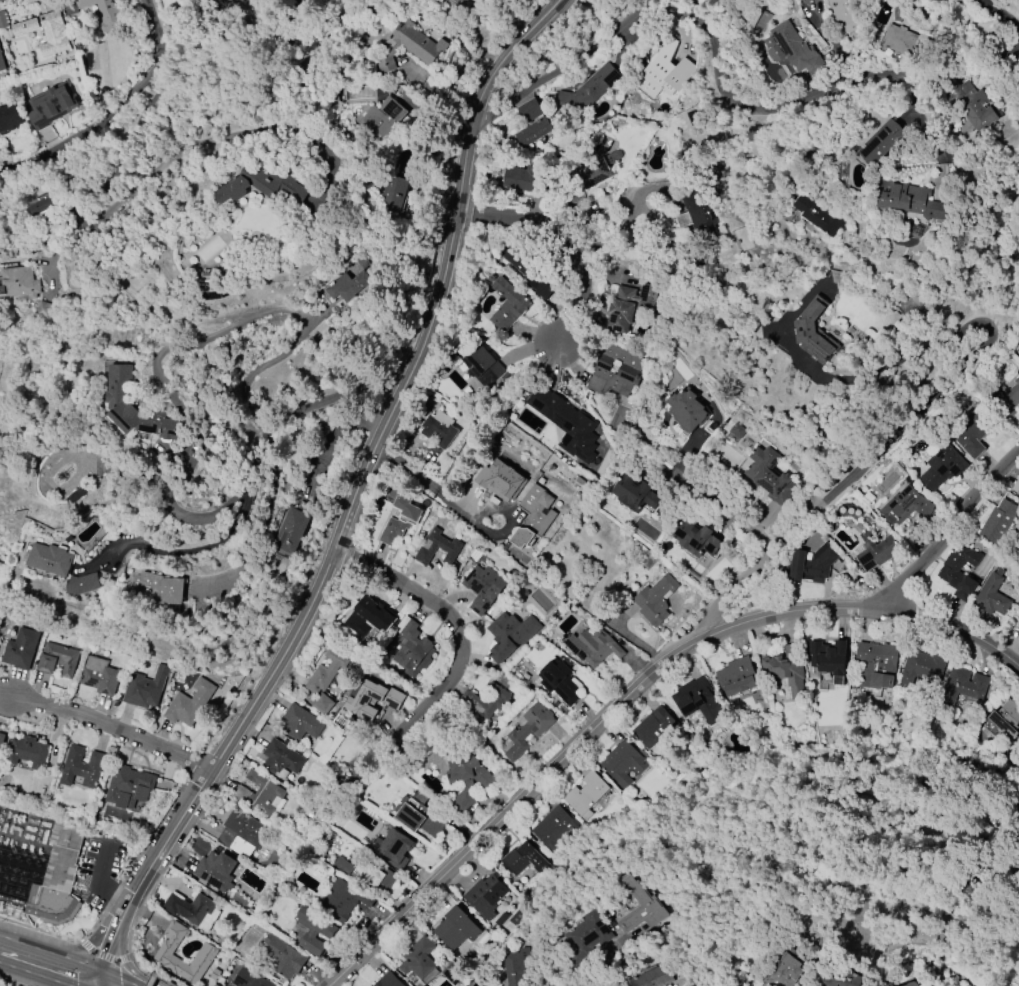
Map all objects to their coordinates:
building: (930, 0)
road: (3, 1)
building: (935, 1)
building: (104, 11)
road: (1004, 13)
building: (843, 15)
building: (45, 31)
building: (899, 42)
building: (414, 46)
building: (793, 48)
building: (117, 62)
building: (1, 64)
building: (685, 68)
road: (559, 69)
road: (968, 76)
building: (586, 89)
building: (50, 106)
building: (973, 106)
road: (744, 107)
building: (529, 110)
road: (114, 113)
building: (10, 116)
building: (386, 117)
building: (532, 132)
building: (882, 143)
building: (599, 170)
building: (518, 176)
road: (142, 182)
building: (269, 186)
building: (394, 193)
building: (913, 200)
building: (42, 206)
building: (697, 215)
building: (817, 215)
road: (587, 234)
road: (562, 242)
building: (527, 272)
building: (19, 282)
building: (348, 286)
building: (508, 304)
building: (910, 305)
building: (627, 306)
building: (817, 334)
building: (1018, 354)
building: (478, 365)
building: (614, 372)
building: (1006, 399)
building: (136, 409)
building: (687, 410)
building: (565, 423)
building: (437, 429)
building: (737, 431)
building: (974, 433)
building: (943, 467)
building: (771, 476)
building: (1016, 487)
road: (431, 491)
road: (268, 494)
building: (635, 494)
road: (351, 500)
building: (523, 502)
building: (905, 506)
building: (400, 520)
building: (996, 521)
building: (293, 527)
road: (757, 530)
road: (946, 532)
building: (698, 538)
building: (437, 548)
building: (876, 549)
building: (51, 559)
building: (813, 564)
building: (958, 573)
building: (0, 581)
building: (84, 584)
building: (482, 587)
building: (165, 591)
building: (992, 596)
building: (655, 600)
road: (836, 608)
building: (369, 619)
road: (453, 624)
building: (1018, 630)
building: (510, 634)
building: (592, 647)
building: (411, 648)
building: (20, 649)
building: (828, 656)
building: (57, 660)
building: (877, 663)
building: (921, 668)
building: (785, 671)
building: (326, 672)
building: (99, 676)
building: (736, 676)
building: (558, 682)
building: (965, 686)
building: (144, 688)
building: (698, 701)
building: (484, 702)
building: (189, 703)
building: (356, 703)
building: (322, 704)
building: (1008, 719)
building: (299, 723)
road: (111, 727)
building: (653, 727)
building: (527, 729)
building: (2, 741)
building: (27, 752)
building: (280, 759)
building: (623, 764)
building: (82, 767)
building: (464, 778)
building: (129, 787)
building: (262, 794)
building: (587, 794)
building: (417, 814)
building: (555, 826)
road: (491, 827)
building: (242, 833)
building: (394, 848)
building: (523, 859)
building: (344, 865)
building: (215, 871)
building: (370, 874)
building: (59, 878)
road: (97, 882)
building: (485, 896)
building: (342, 901)
building: (639, 908)
building: (193, 910)
building: (452, 929)
building: (313, 931)
road: (108, 932)
building: (585, 933)
road: (120, 942)
traffic signals: (98, 944)
road: (82, 953)
building: (206, 953)
road: (50, 954)
building: (284, 957)
building: (420, 961)
traffic signals: (127, 964)
building: (517, 965)
building: (785, 972)
traffic signals: (101, 973)
road: (32, 974)
road: (155, 975)
road: (136, 976)
building: (654, 977)
building: (250, 978)
building: (840, 978)
road: (116, 979)
road: (150, 980)
building: (388, 980)
building: (912, 984)

